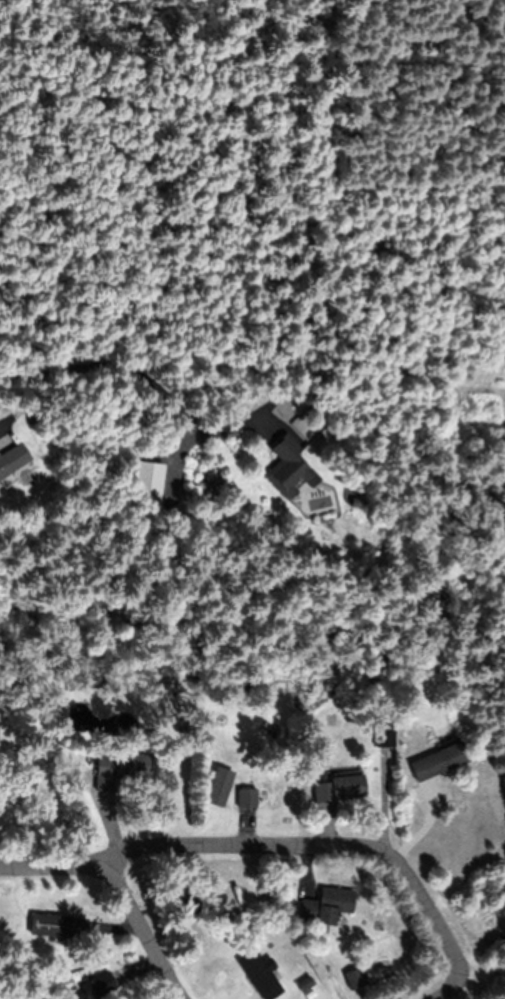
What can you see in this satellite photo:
building: (13, 459)
building: (288, 468)
building: (148, 483)
building: (384, 736)
building: (439, 762)
building: (119, 769)
building: (219, 787)
building: (339, 789)
road: (265, 845)
building: (327, 907)
building: (56, 926)
road: (144, 933)
building: (262, 975)
building: (356, 980)
building: (99, 988)
road: (445, 989)

